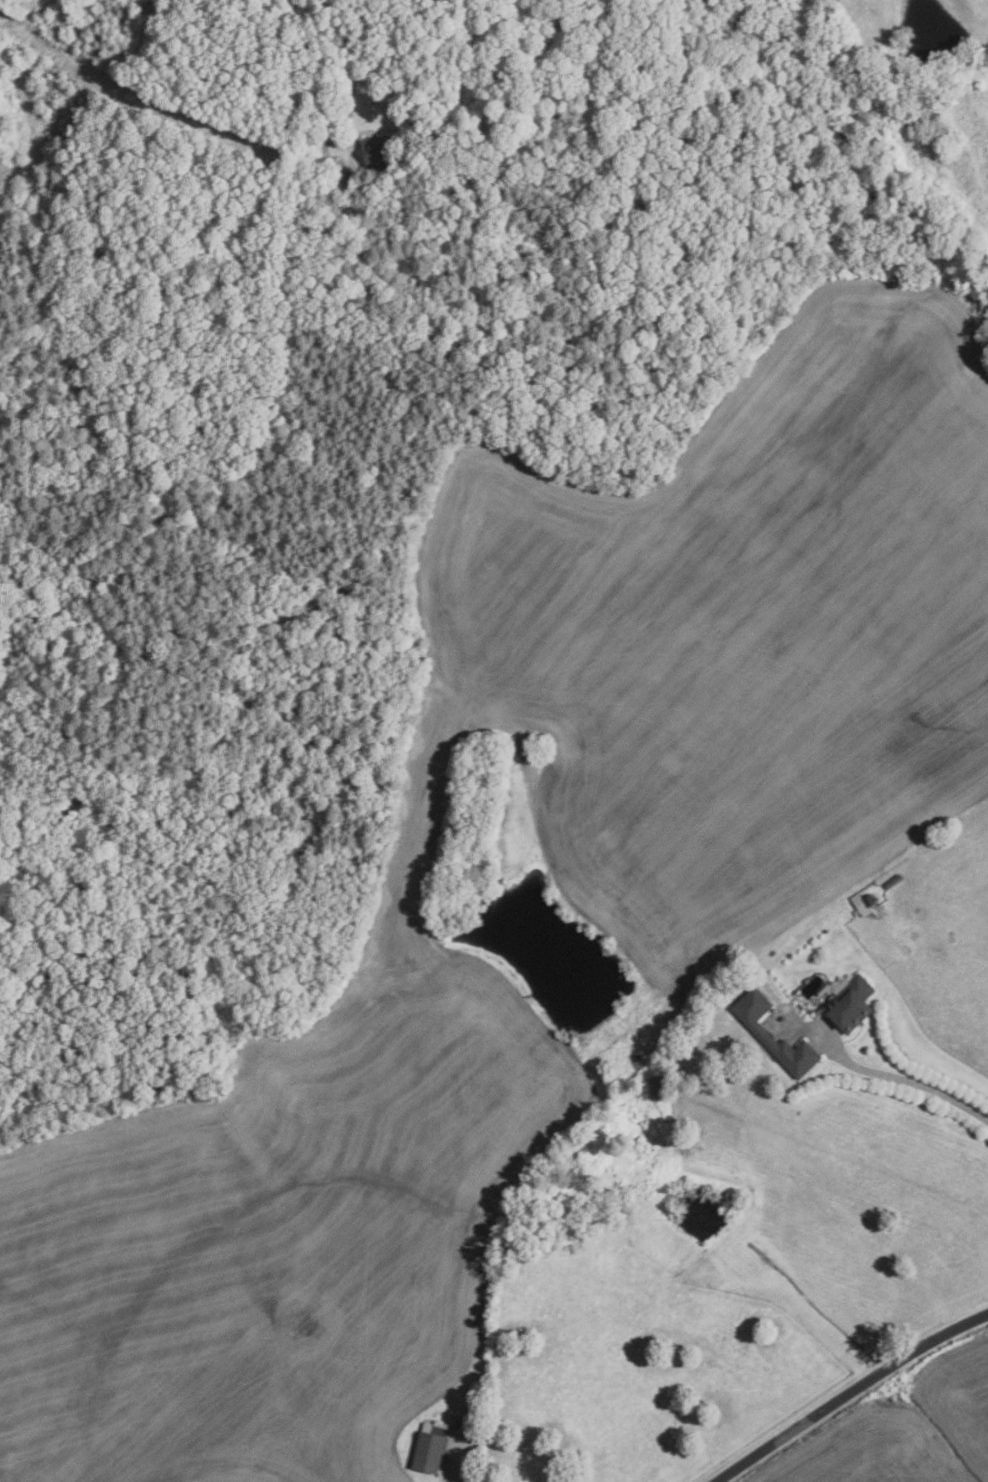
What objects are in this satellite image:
road: (349, 62)
building: (377, 152)
building: (892, 880)
building: (862, 903)
building: (849, 1003)
building: (757, 1029)
road: (886, 1075)
building: (655, 1088)
road: (848, 1392)
building: (426, 1452)
road: (474, 1462)

